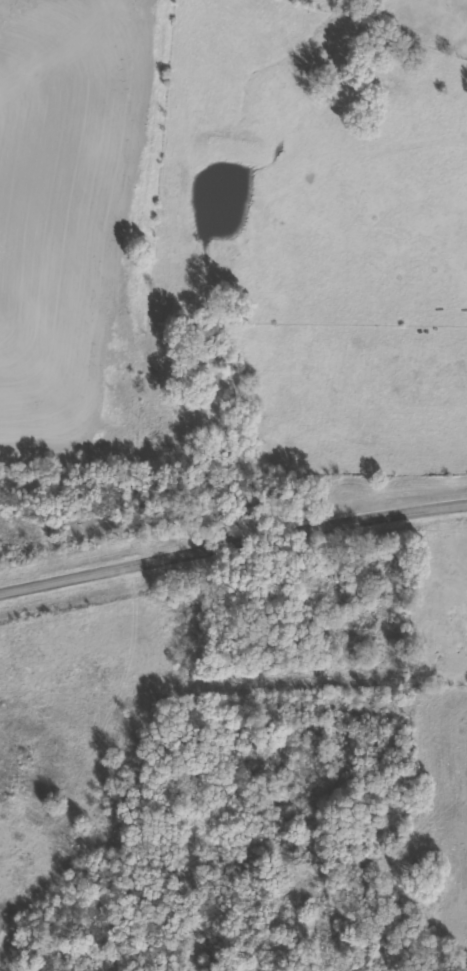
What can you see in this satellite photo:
road: (232, 547)

